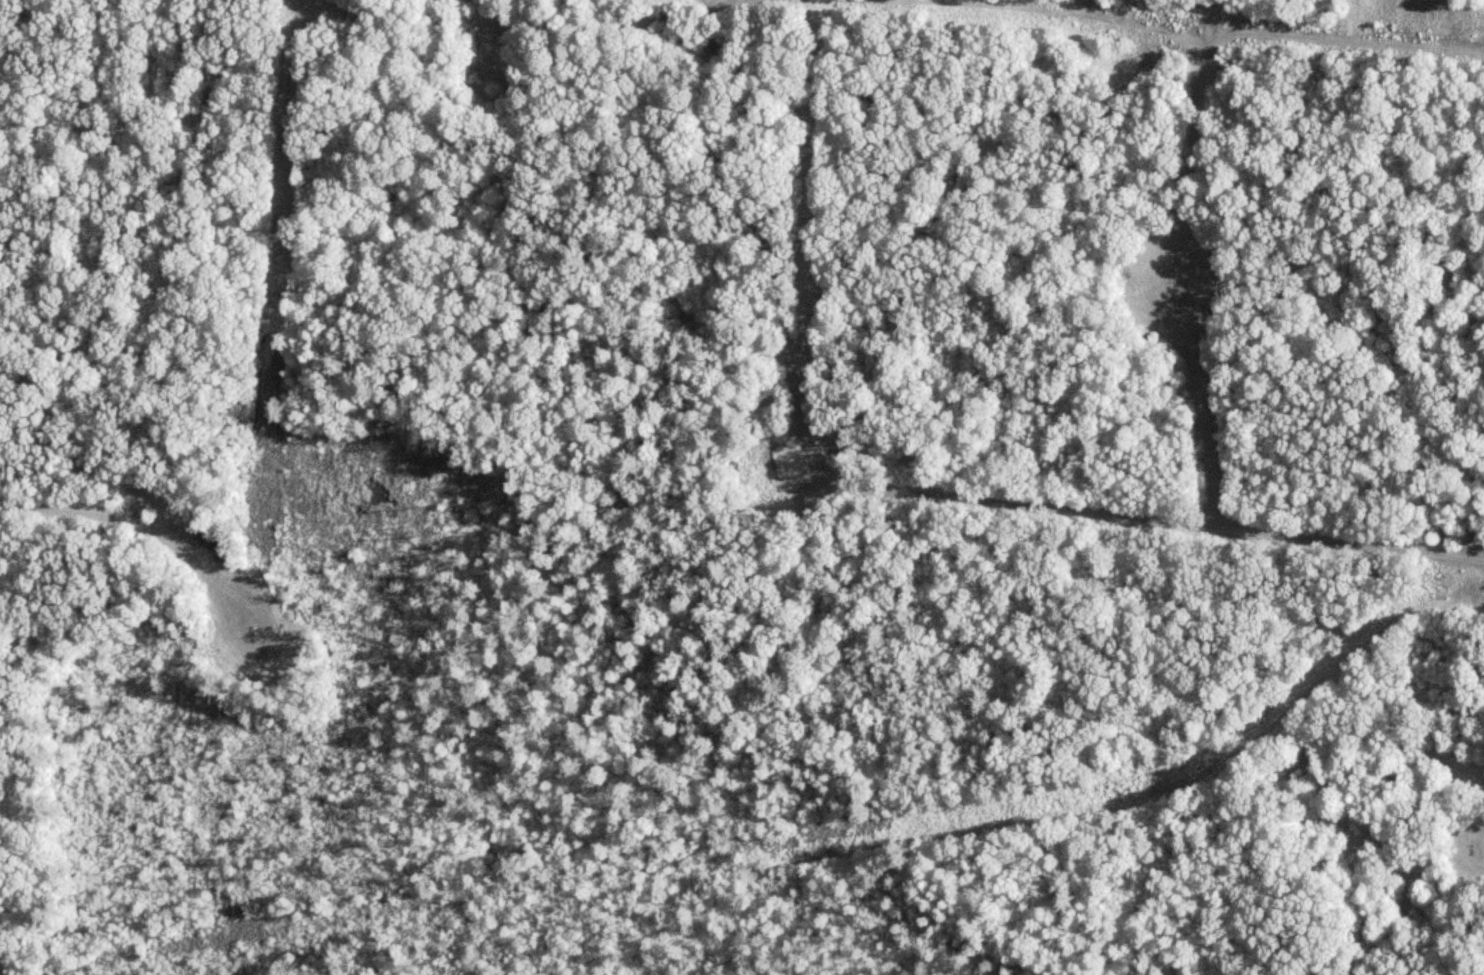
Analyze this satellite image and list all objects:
road: (1229, 414)
road: (903, 511)
road: (119, 587)

